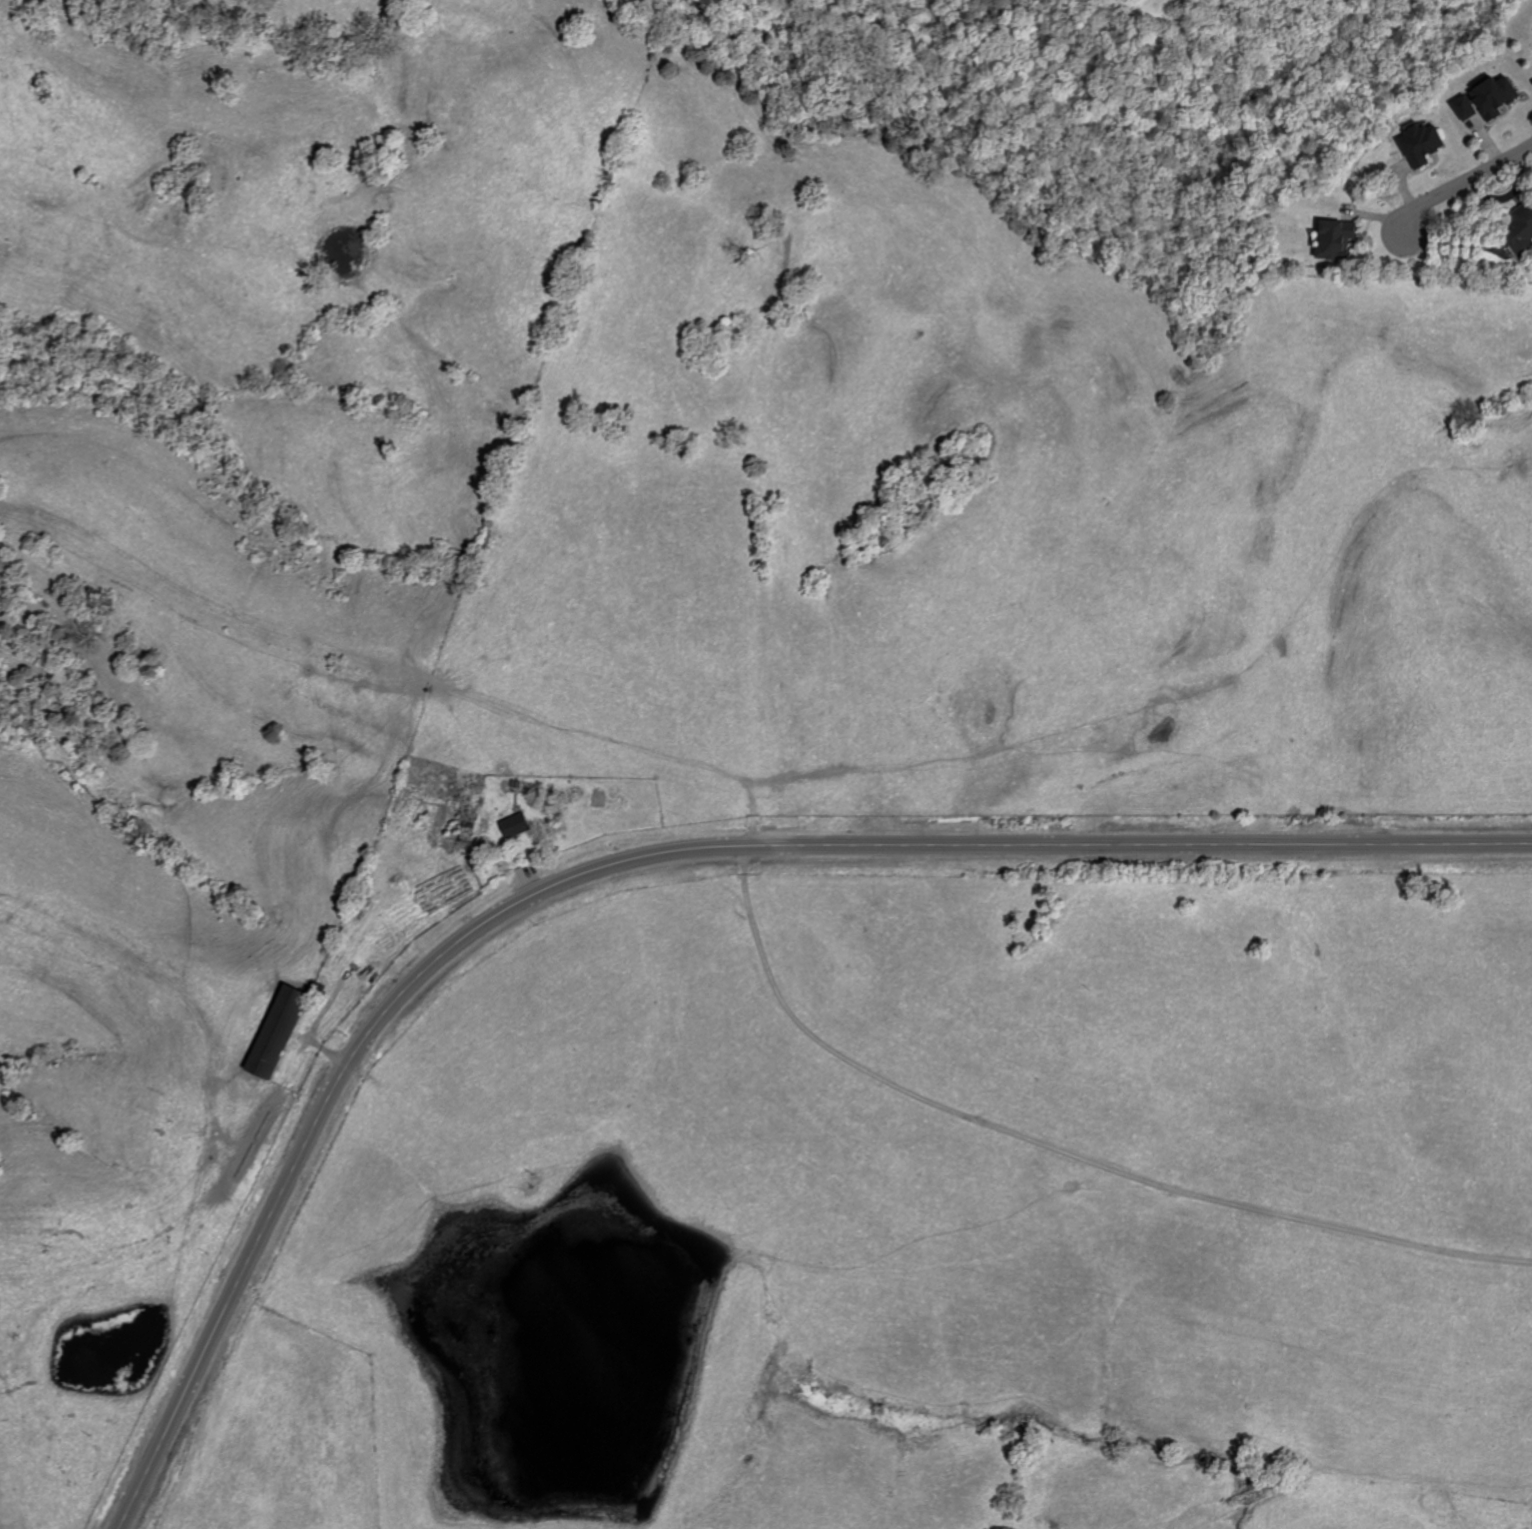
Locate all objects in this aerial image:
building: (1494, 97)
building: (1464, 108)
building: (1421, 144)
road: (1462, 183)
building: (1521, 232)
building: (1335, 239)
building: (514, 824)
road: (645, 859)
building: (276, 1031)
road: (1067, 1132)

